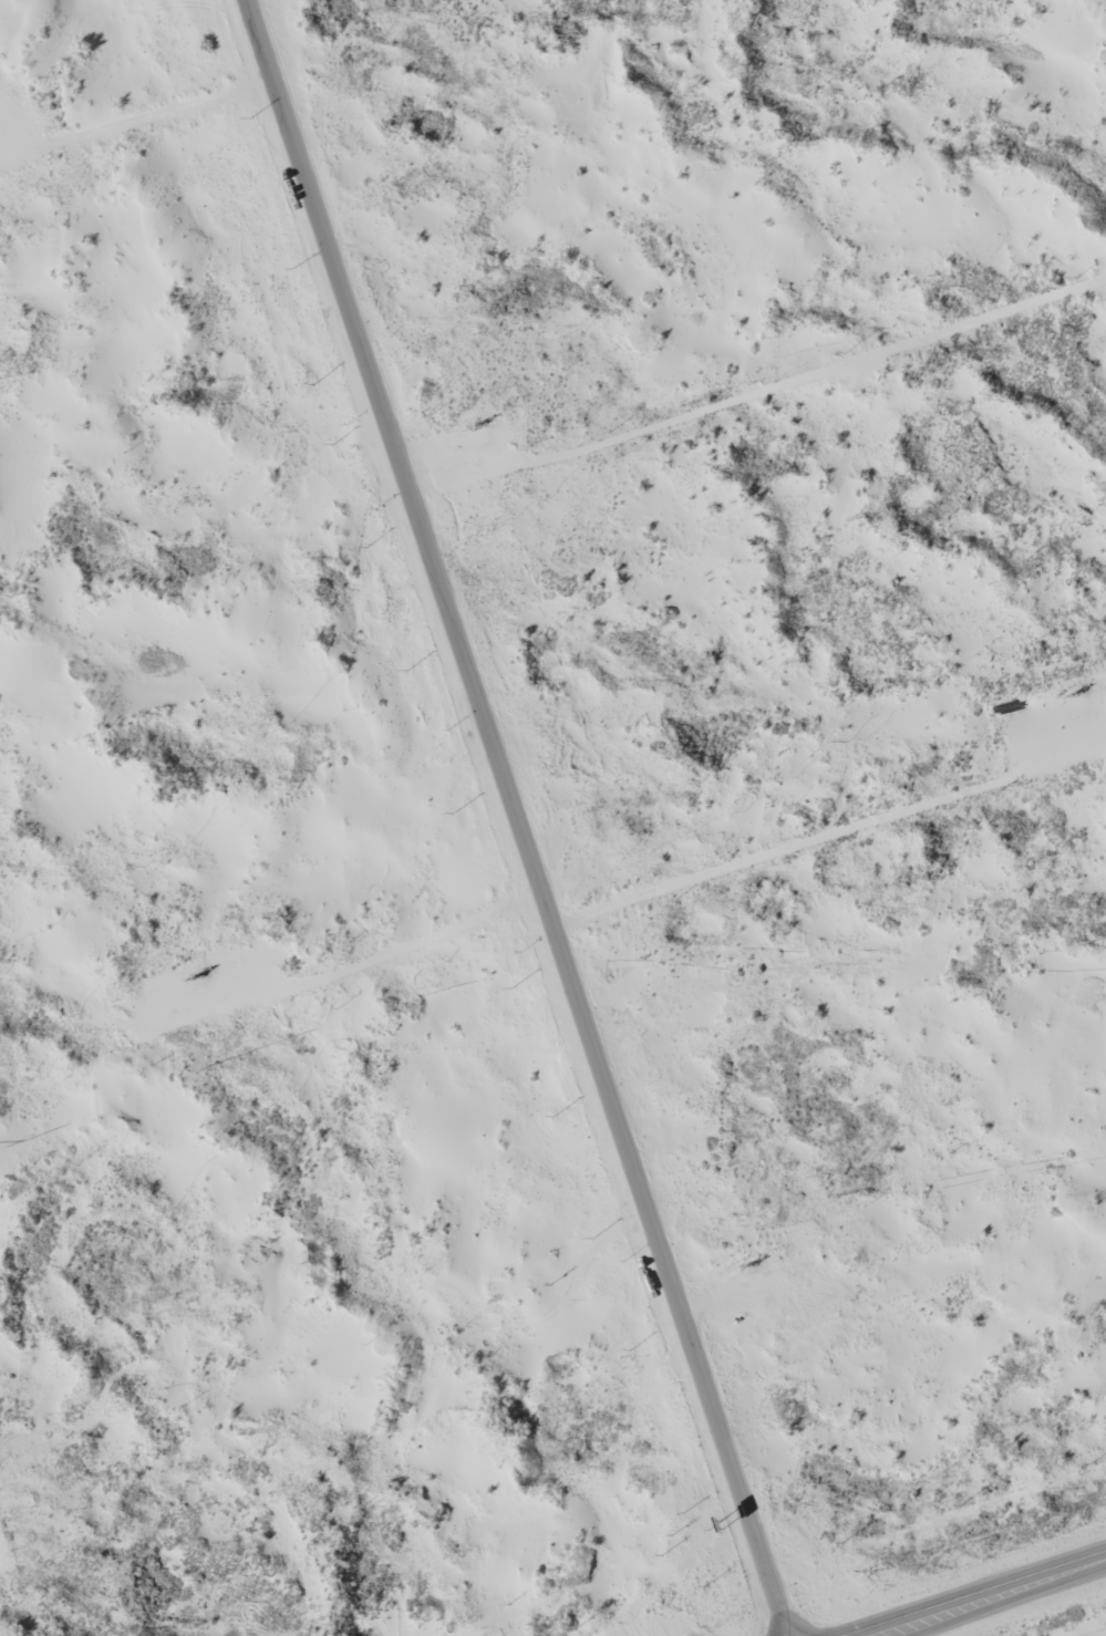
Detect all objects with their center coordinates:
road: (505, 821)
road: (980, 1595)

